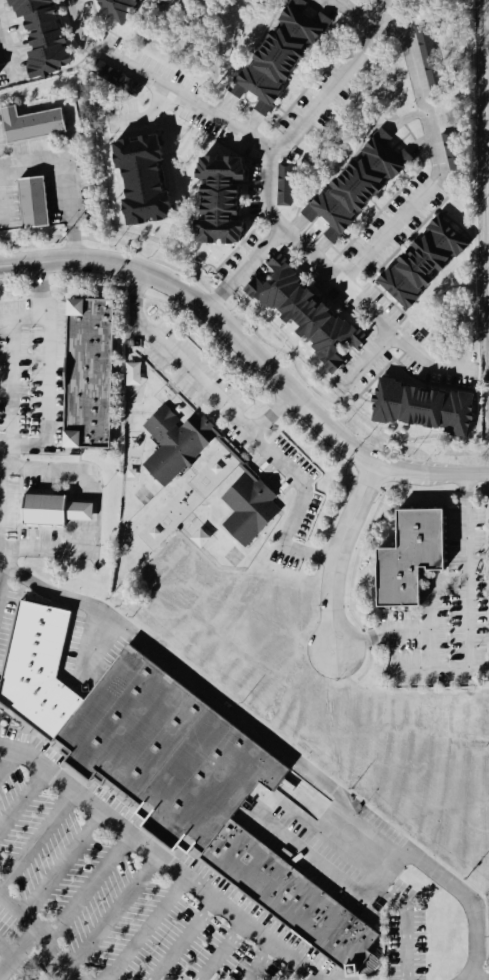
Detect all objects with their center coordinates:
building: (127, 8)
building: (49, 37)
building: (287, 57)
building: (431, 57)
road: (6, 58)
road: (333, 83)
road: (62, 106)
road: (147, 119)
building: (28, 125)
road: (427, 137)
building: (455, 151)
building: (153, 180)
road: (67, 181)
building: (287, 185)
building: (364, 187)
road: (265, 189)
building: (231, 201)
building: (29, 205)
road: (35, 210)
building: (430, 264)
road: (242, 269)
building: (311, 312)
road: (5, 327)
road: (250, 355)
road: (367, 362)
building: (85, 375)
building: (136, 375)
road: (46, 379)
road: (10, 388)
building: (430, 409)
road: (272, 416)
road: (243, 426)
building: (179, 444)
building: (252, 509)
building: (44, 510)
road: (339, 553)
building: (409, 555)
road: (1, 574)
road: (431, 590)
road: (469, 656)
road: (271, 746)
building: (162, 754)
road: (7, 763)
road: (23, 802)
road: (36, 840)
road: (161, 860)
road: (61, 865)
road: (334, 874)
road: (87, 888)
building: (285, 897)
road: (113, 913)
road: (404, 927)
road: (145, 929)
road: (41, 935)
road: (182, 940)
road: (7, 948)
road: (17, 950)
road: (222, 952)
road: (259, 962)
road: (469, 979)

